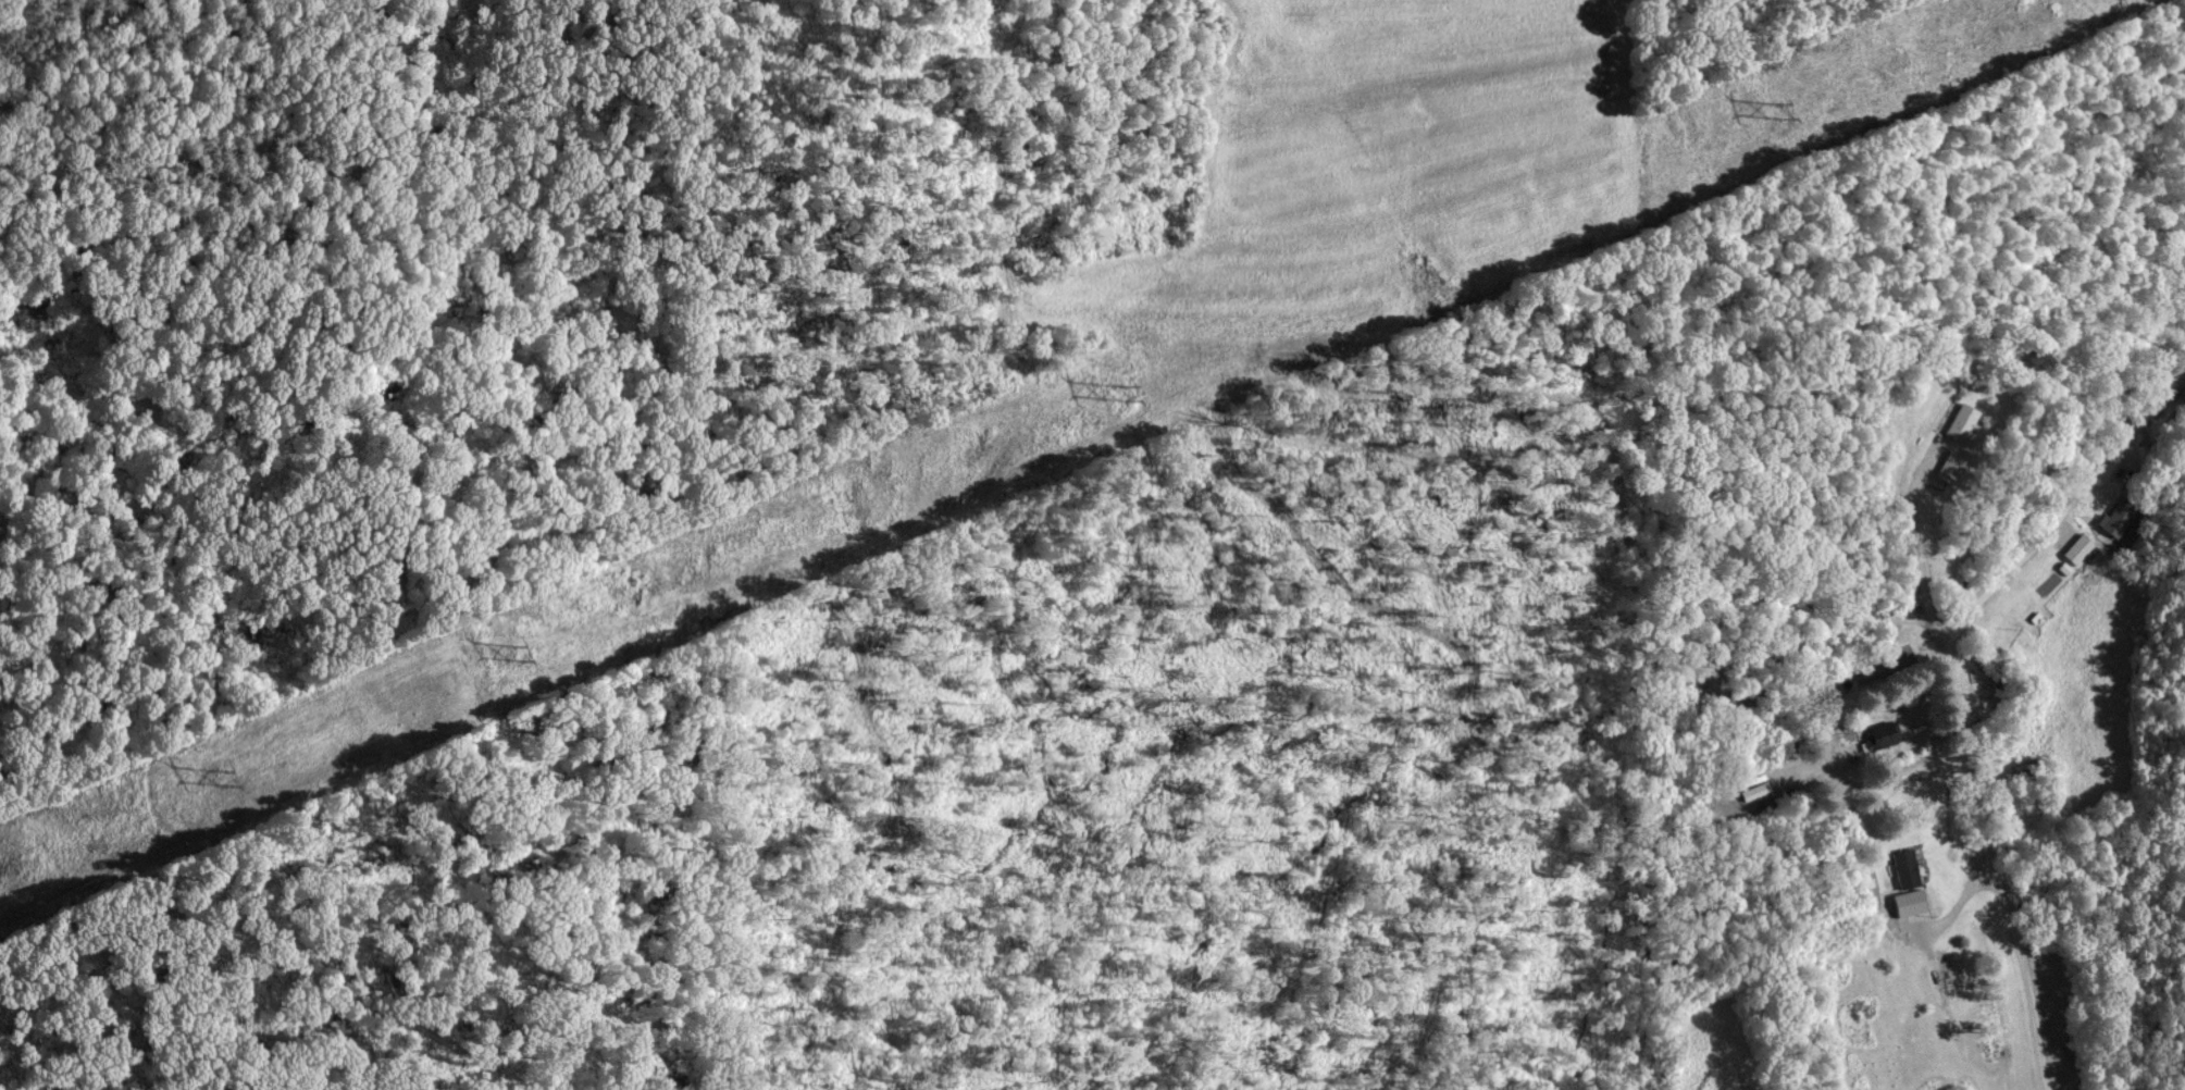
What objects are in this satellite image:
power tower: (1778, 111)
power tower: (1121, 392)
building: (1960, 421)
building: (1946, 468)
building: (2115, 517)
building: (2075, 549)
power tower: (519, 652)
road: (1954, 693)
building: (1879, 732)
power tower: (228, 777)
building: (1901, 866)

